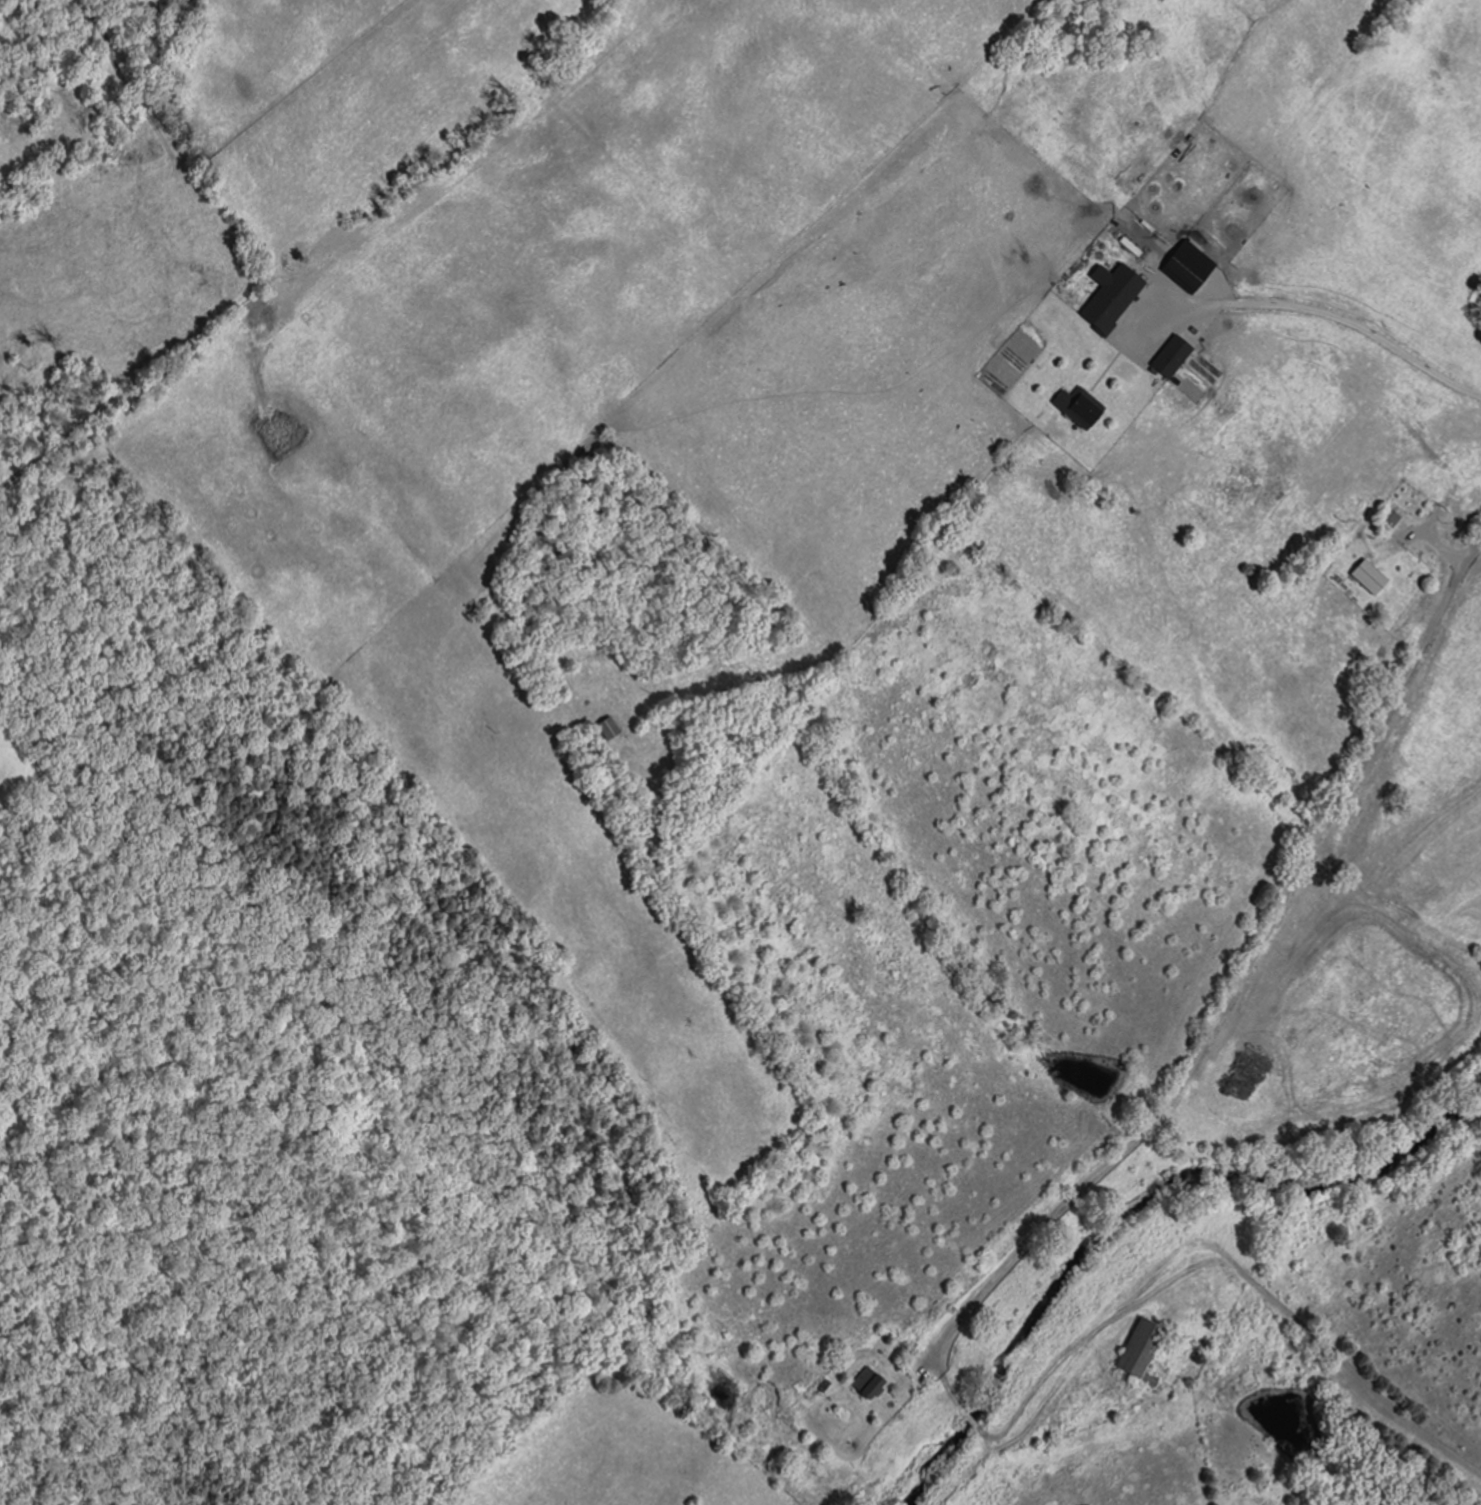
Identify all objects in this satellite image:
building: (1187, 267)
building: (1109, 298)
building: (274, 312)
building: (1169, 358)
building: (1076, 408)
building: (1388, 521)
building: (1365, 578)
road: (1251, 966)
road: (1086, 1346)
road: (1330, 1350)
building: (1141, 1353)
building: (866, 1385)
road: (979, 1425)

